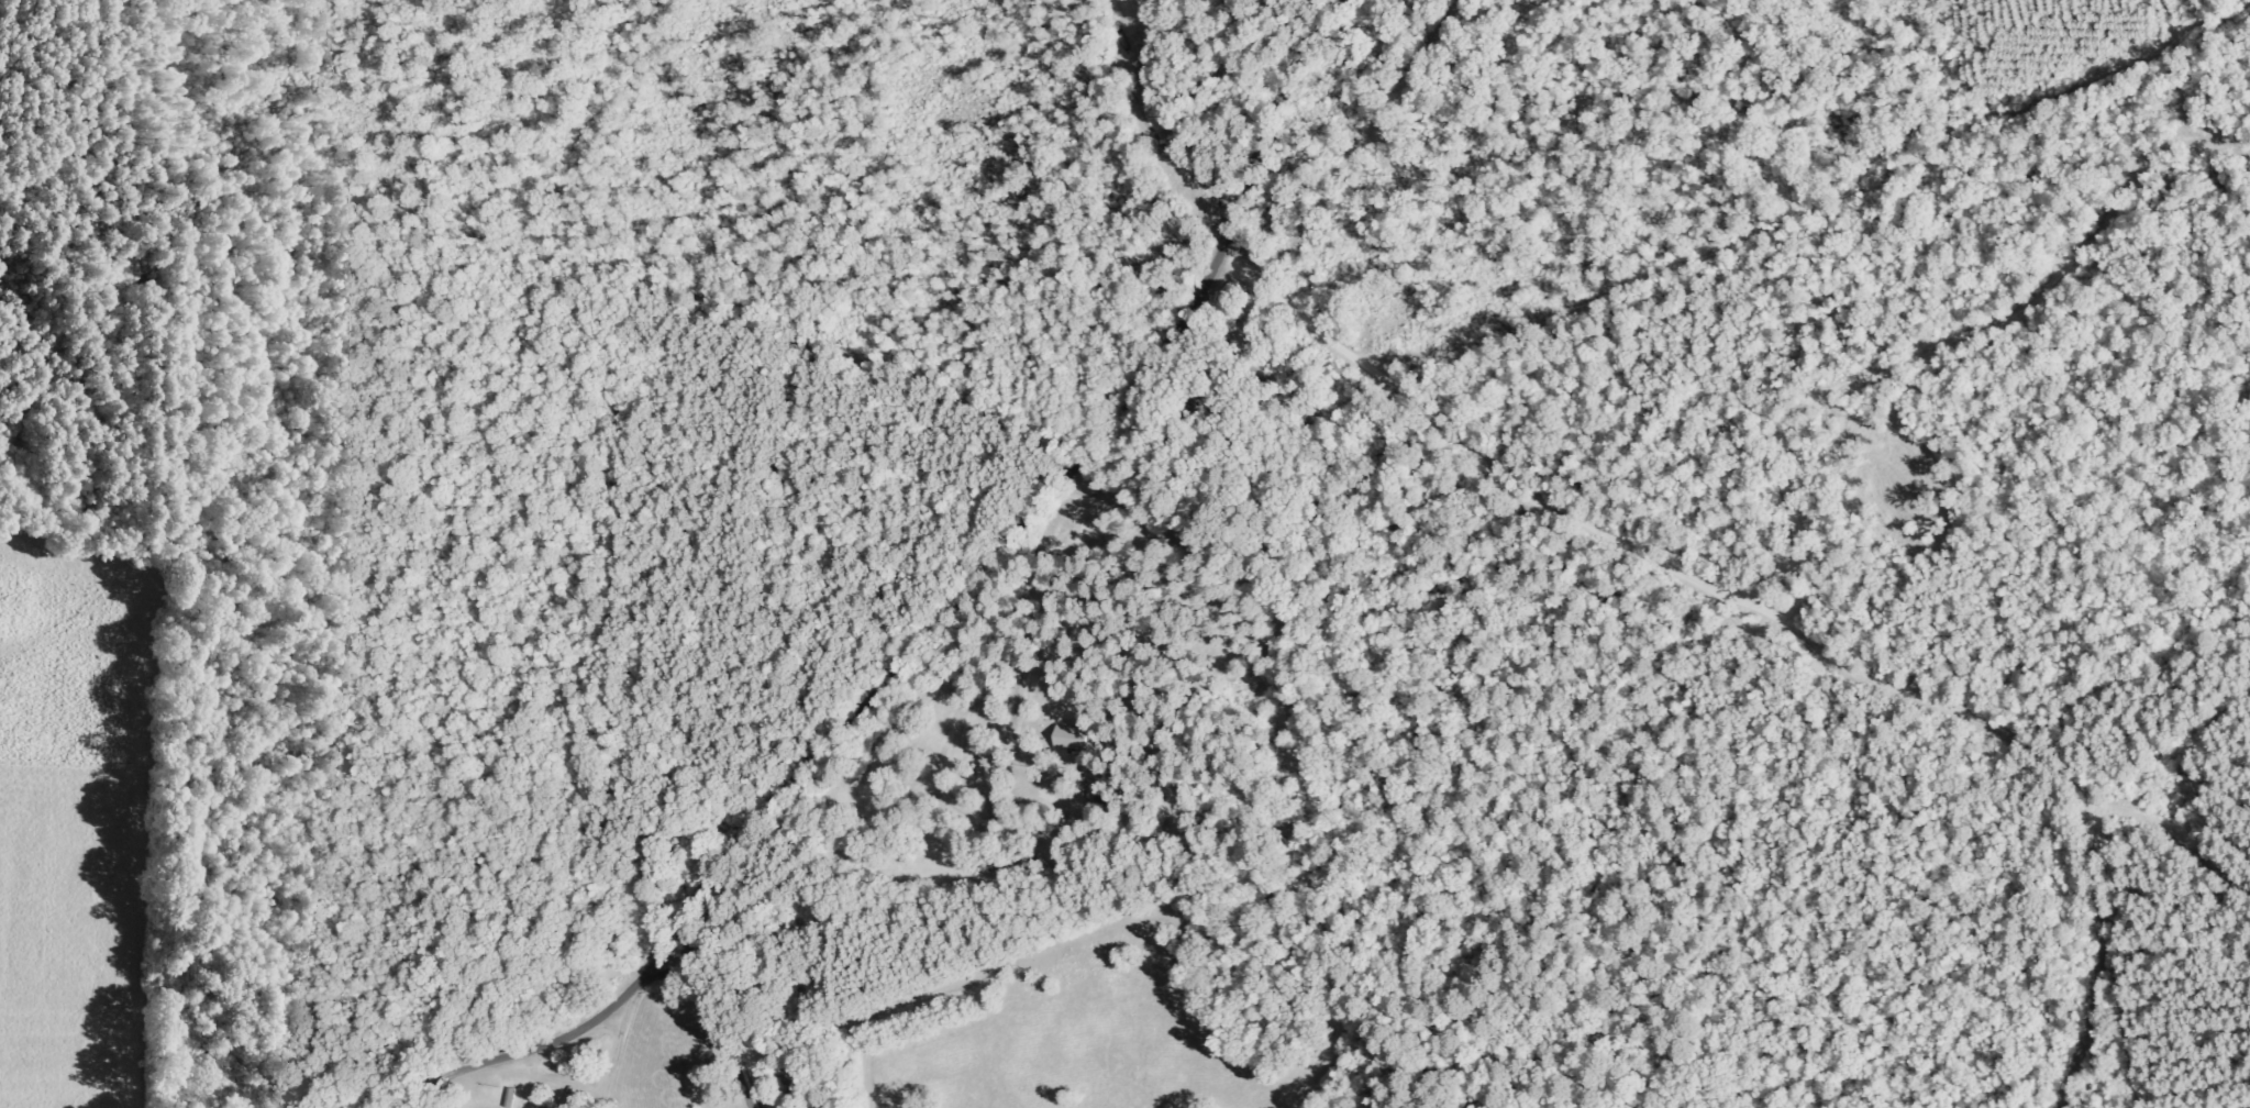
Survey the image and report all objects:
road: (157, 562)
road: (938, 624)
building: (1068, 738)
road: (717, 1019)

